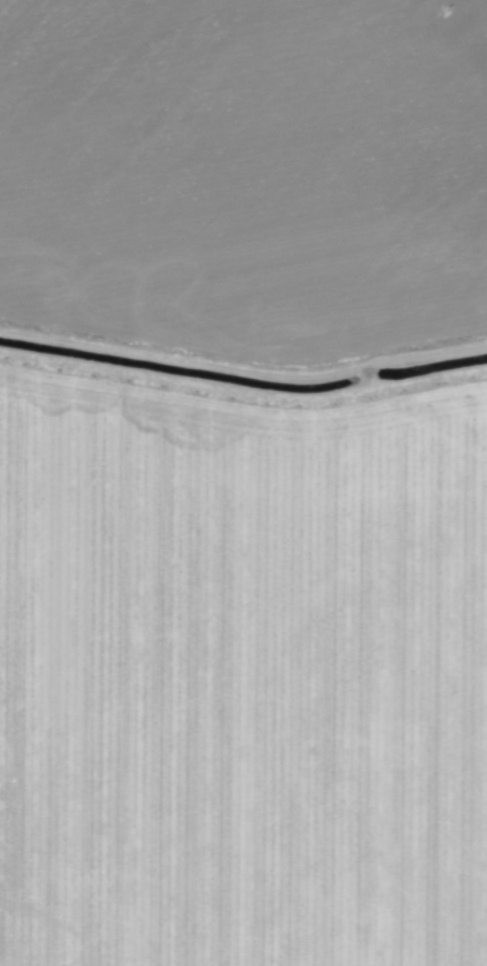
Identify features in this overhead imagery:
road: (243, 373)

